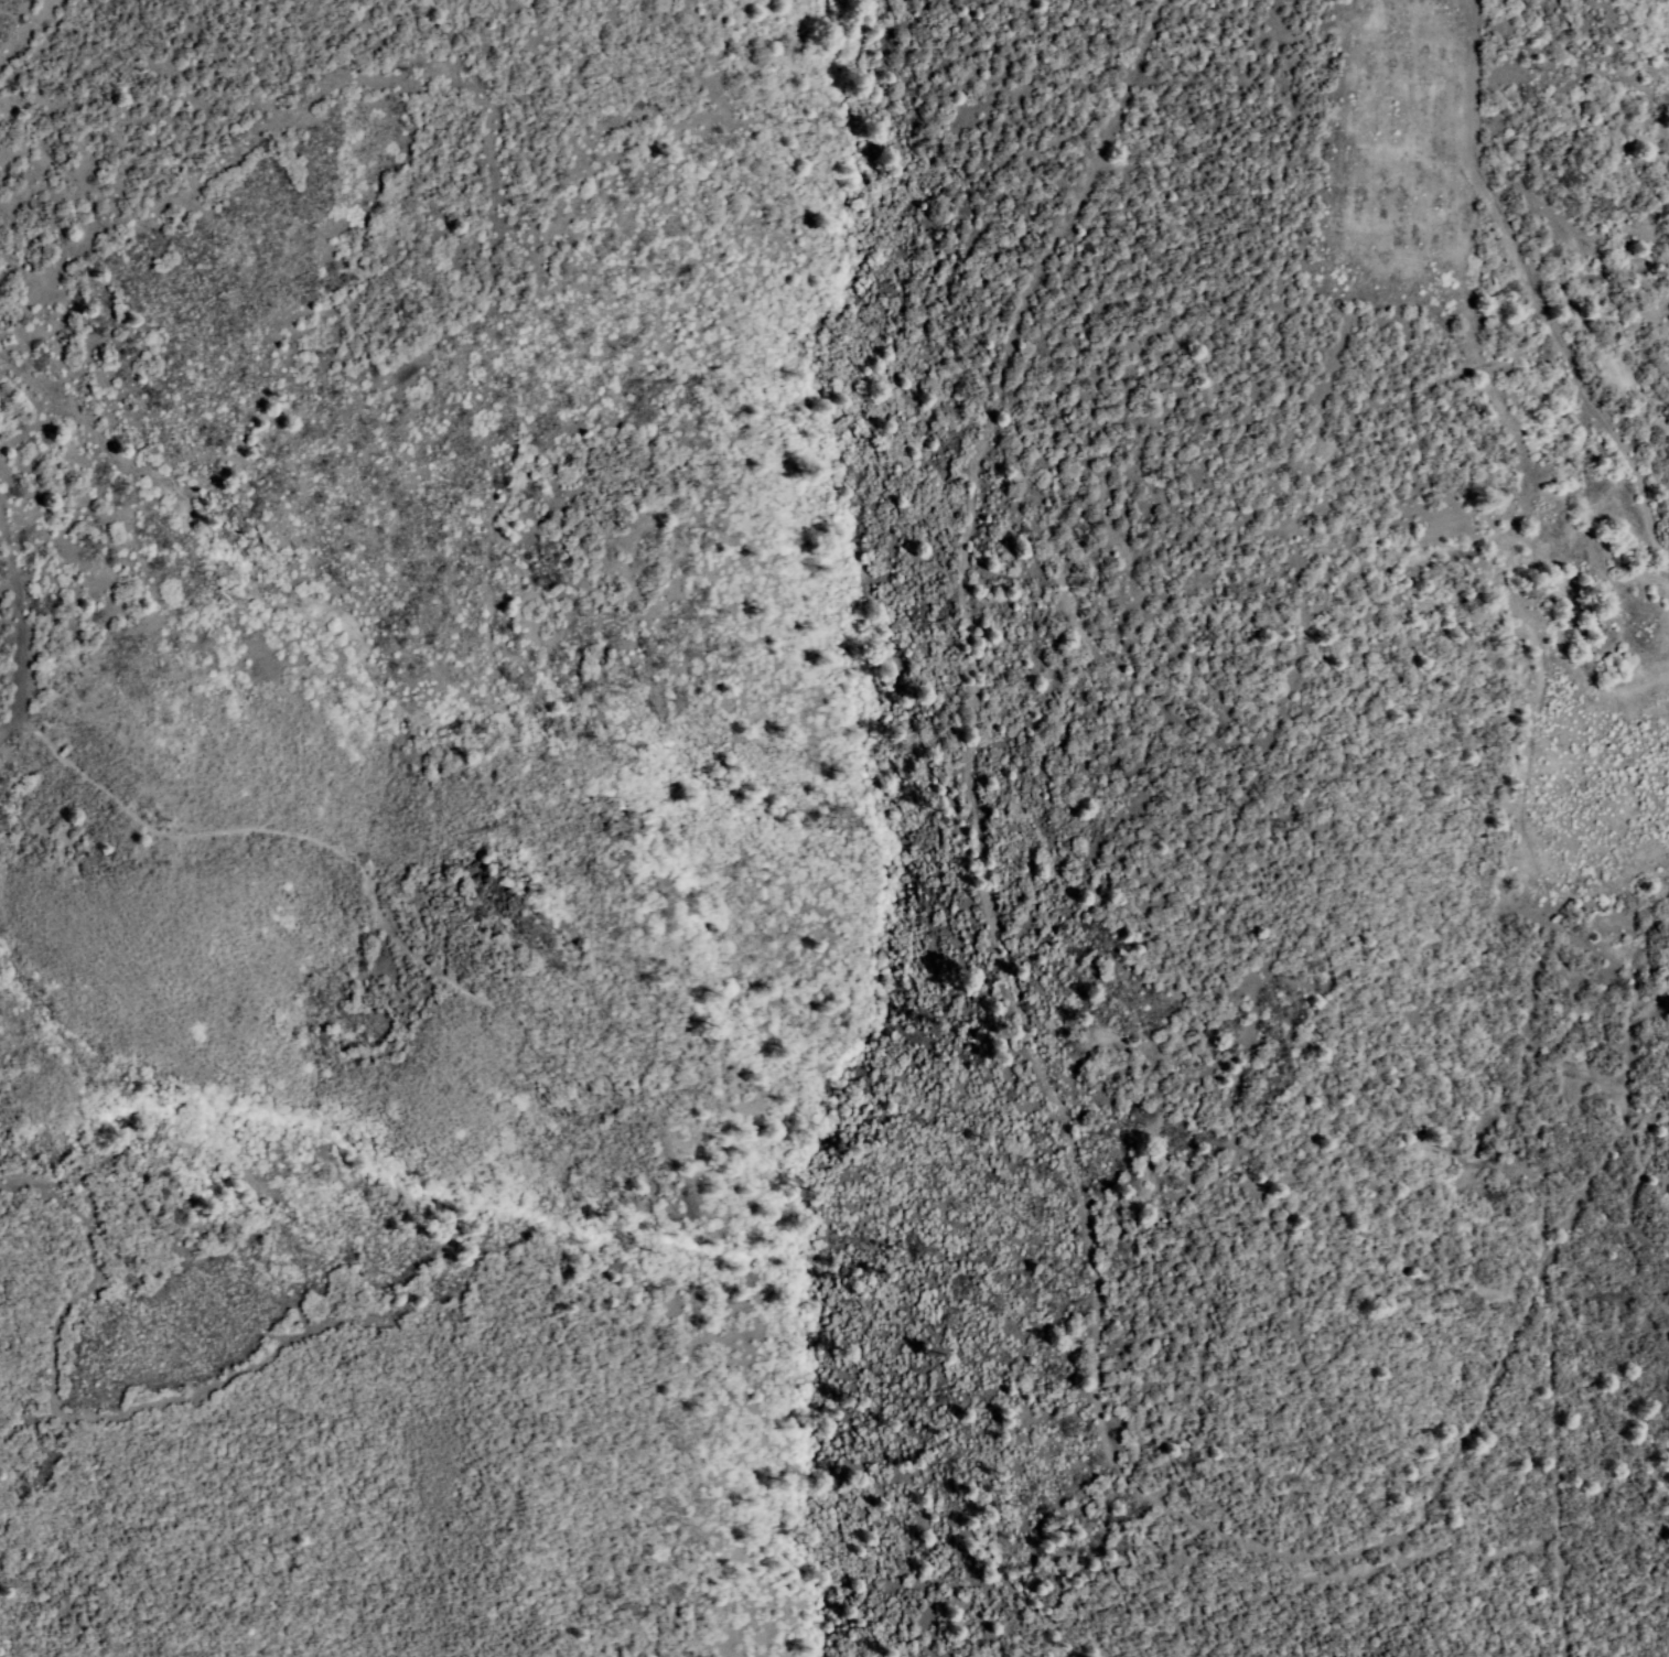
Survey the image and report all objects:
road: (1528, 292)

